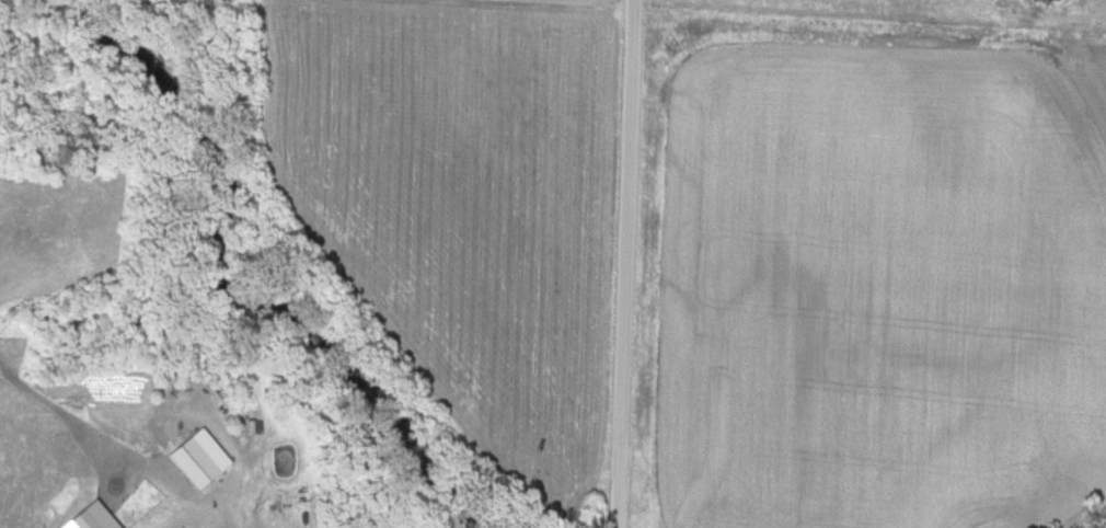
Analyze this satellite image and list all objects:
crop: (483, 3)
crop: (457, 205)
road: (626, 264)
crop: (880, 288)
road: (222, 510)

